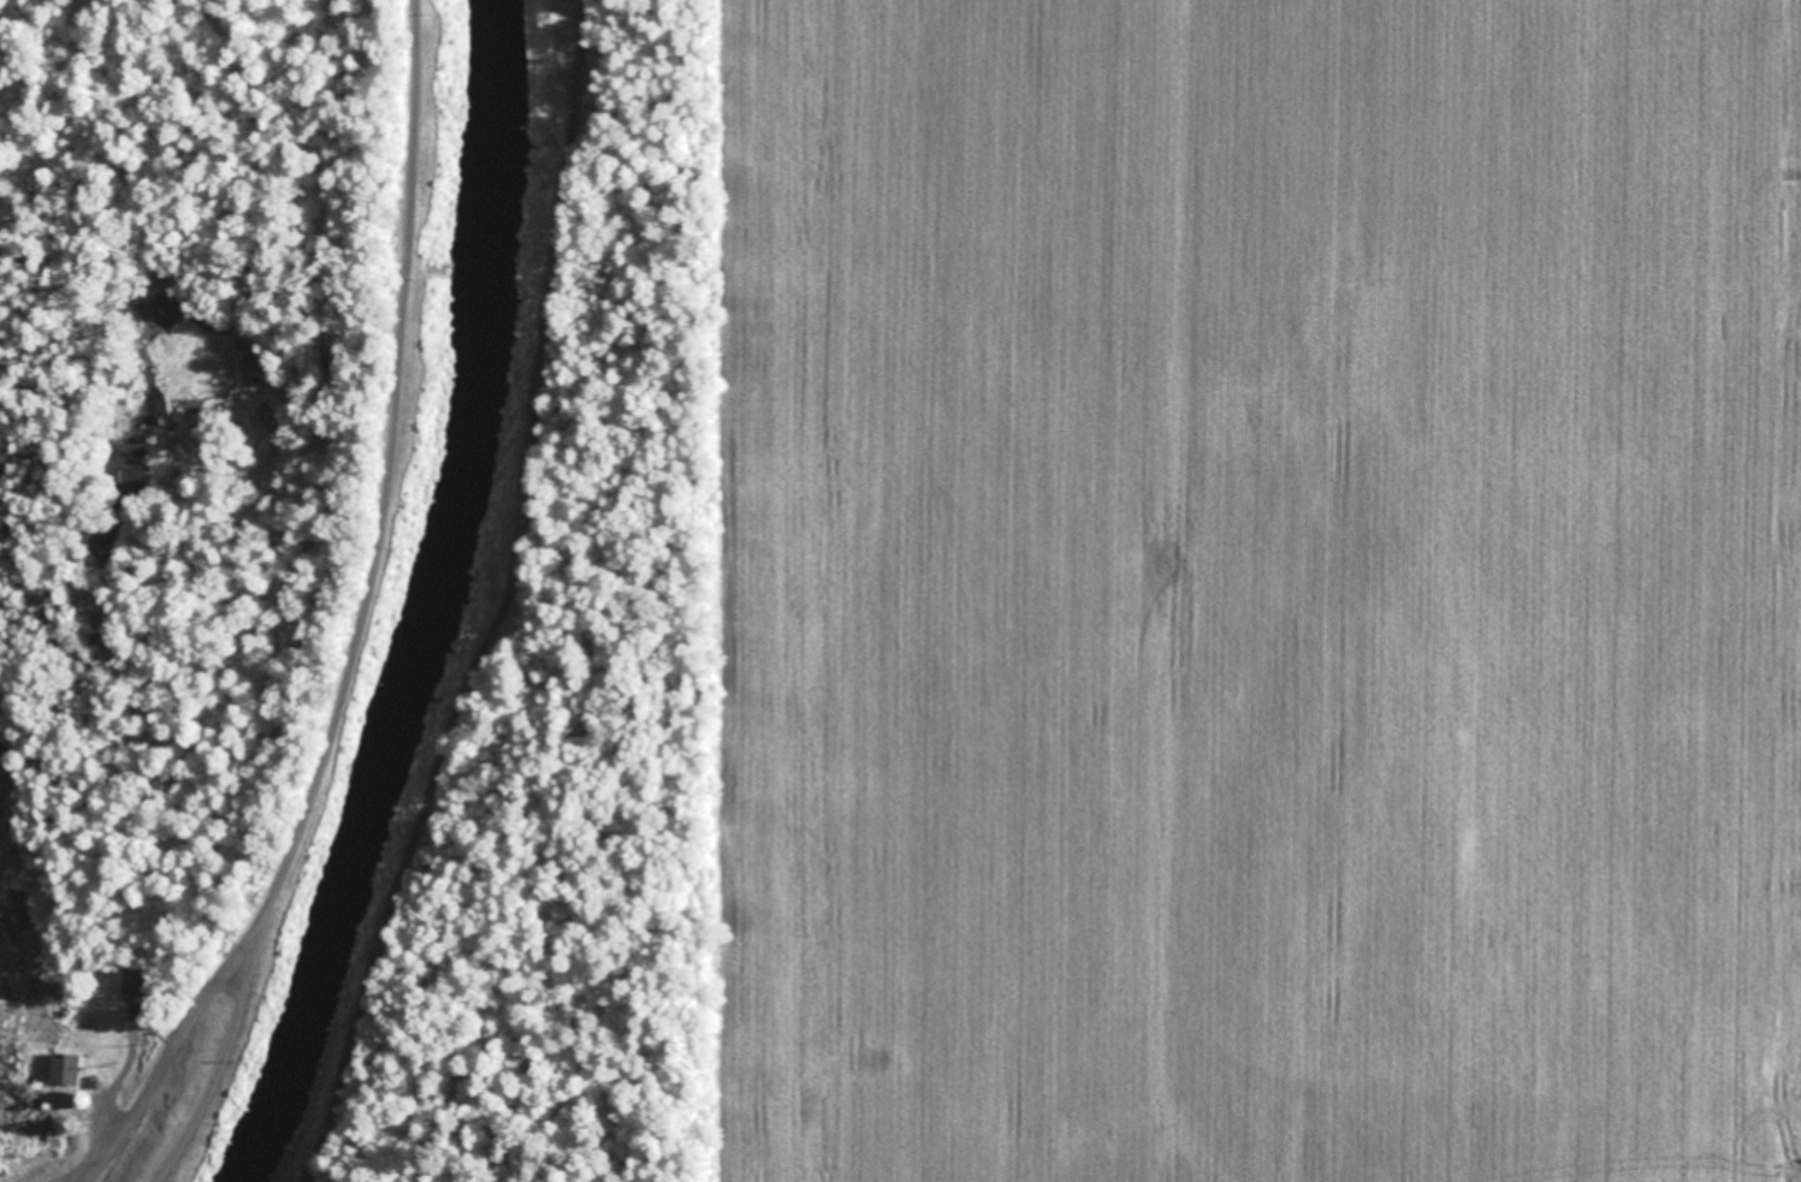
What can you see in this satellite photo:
road: (552, 604)
road: (362, 626)
road: (221, 1062)
building: (66, 1067)

